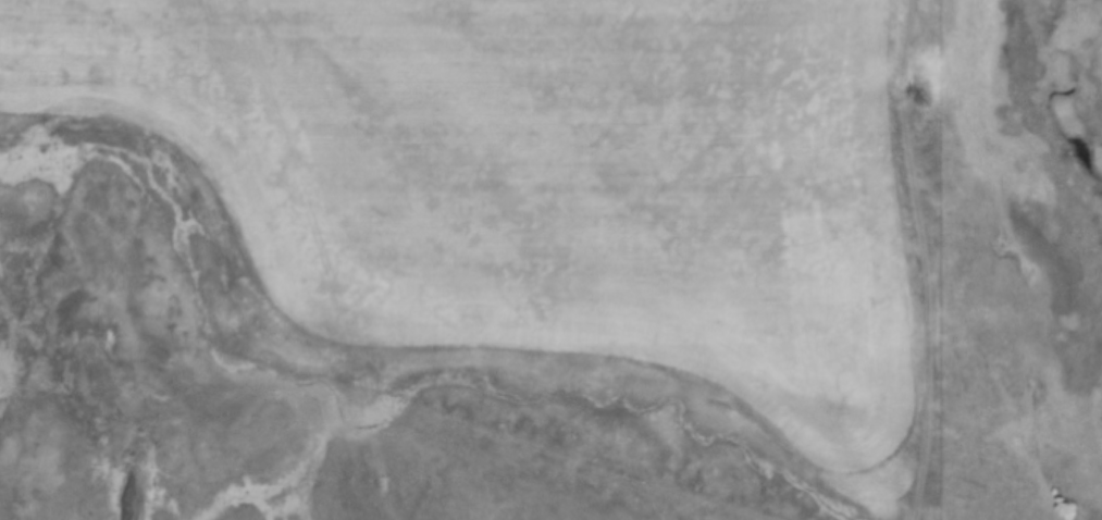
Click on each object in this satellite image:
road: (921, 259)

